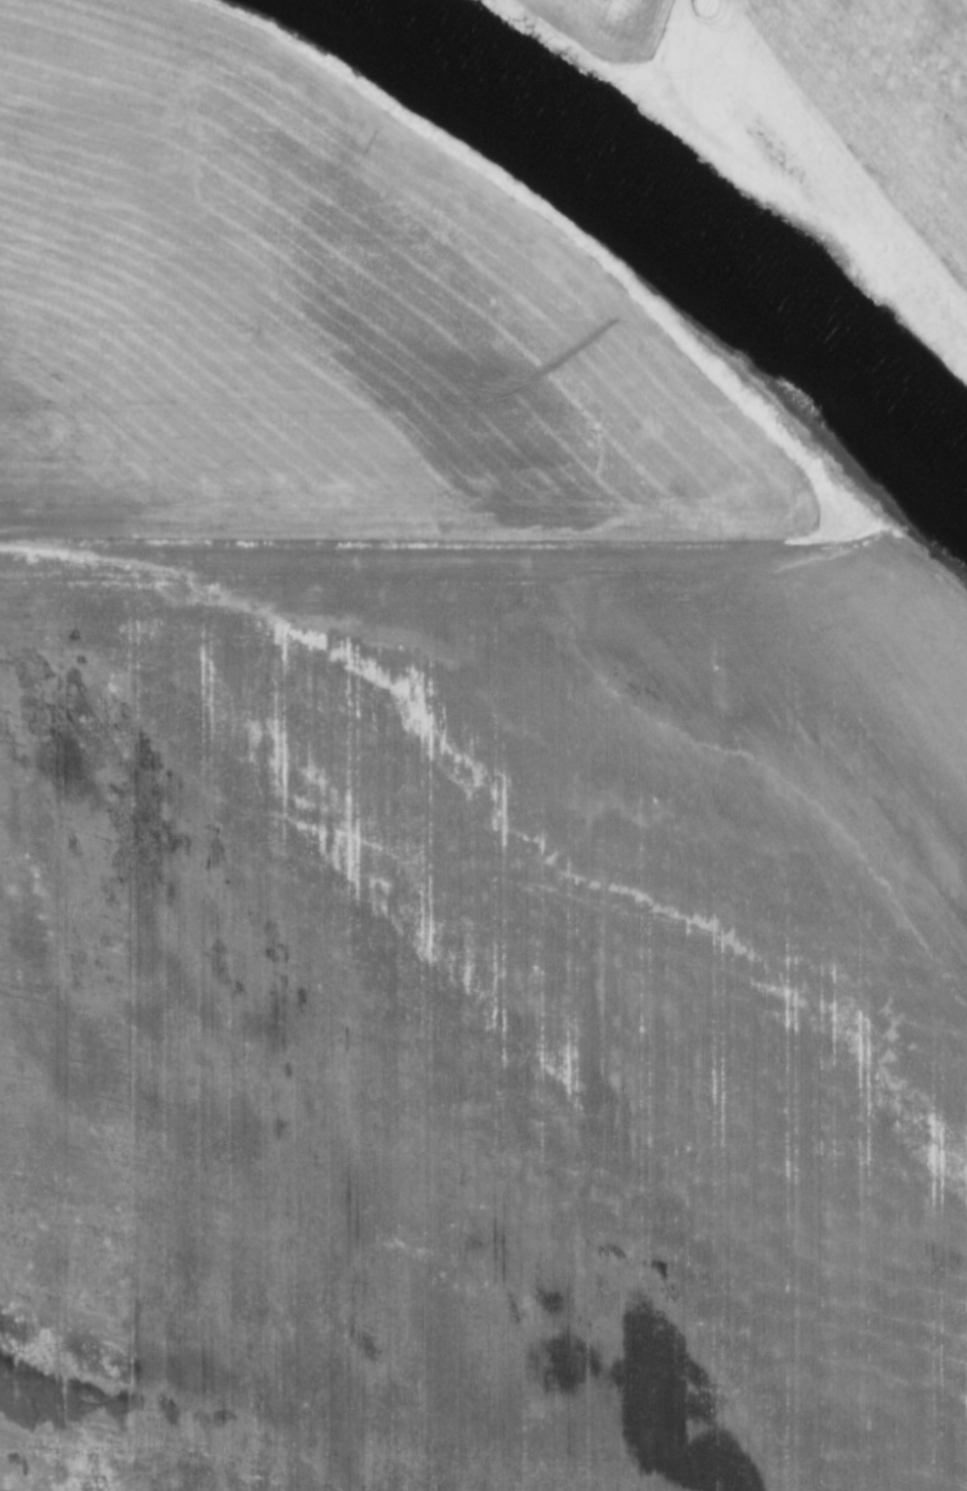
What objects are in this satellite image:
river: (667, 216)

